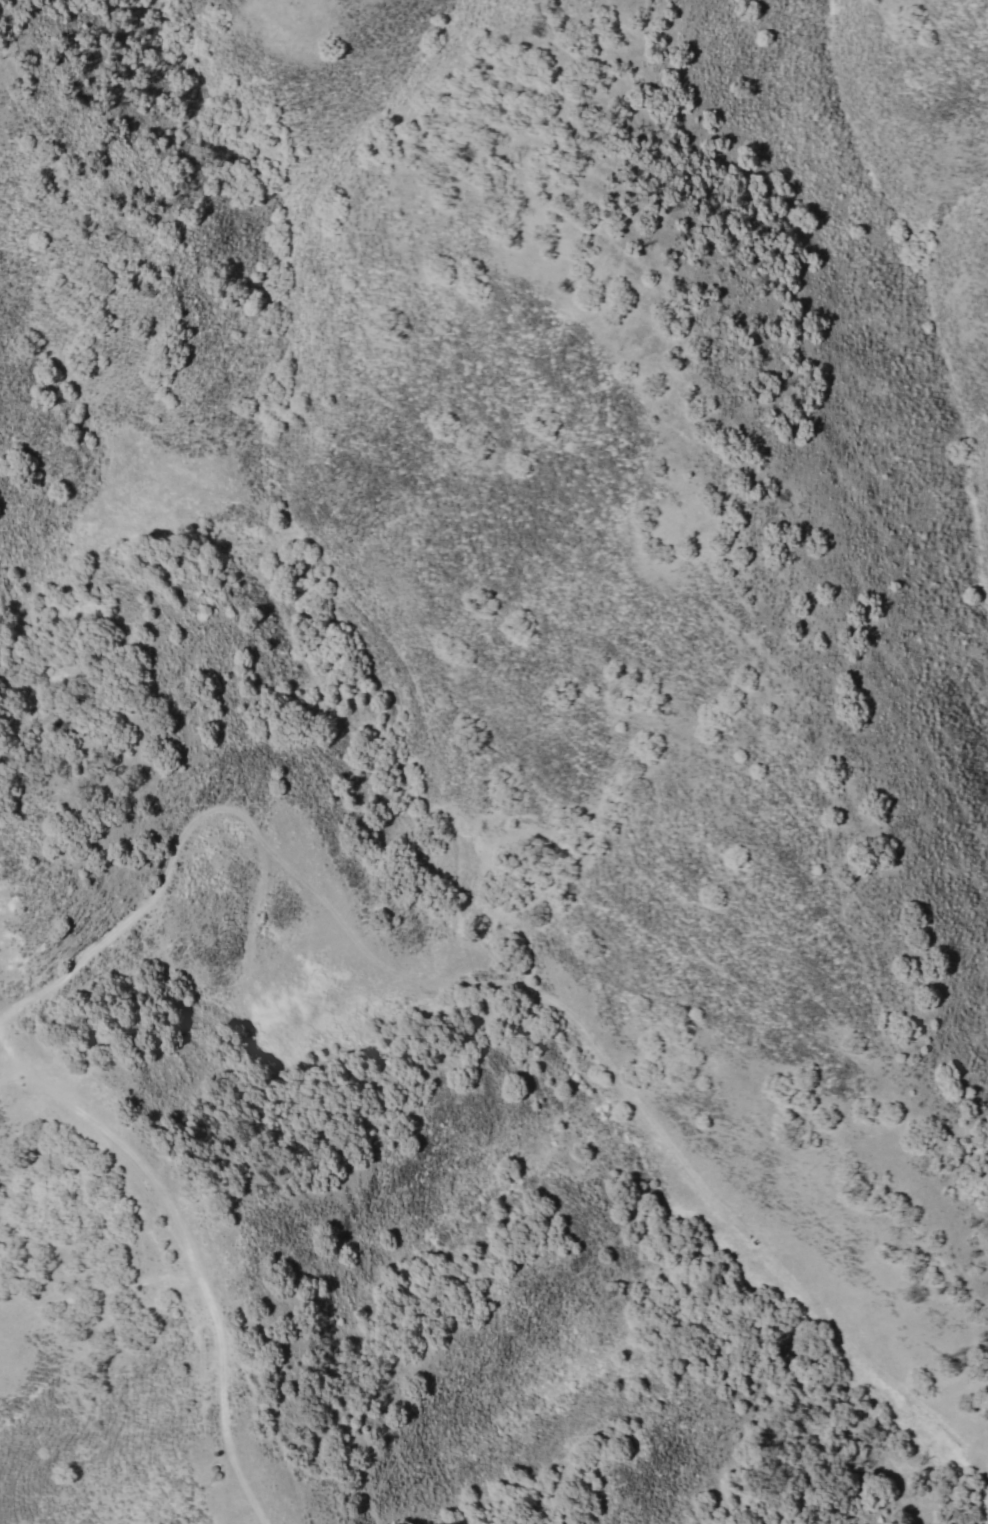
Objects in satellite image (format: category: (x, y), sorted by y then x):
road: (196, 1244)

